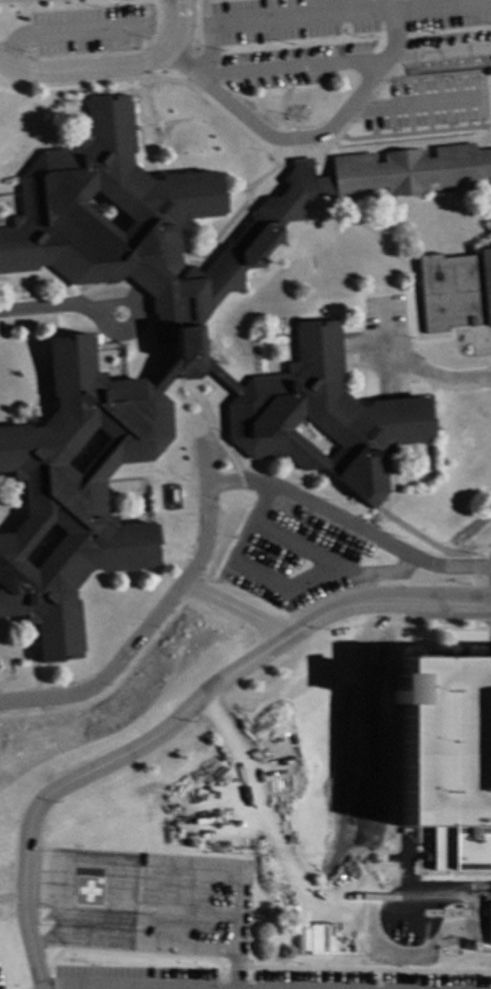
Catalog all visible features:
road: (440, 10)
road: (278, 22)
parking lot: (91, 30)
road: (59, 32)
parking lot: (445, 36)
road: (344, 60)
parking lot: (293, 66)
road: (112, 68)
parking lot: (426, 105)
road: (416, 106)
road: (311, 137)
road: (133, 301)
road: (50, 309)
parking lot: (473, 341)
building: (191, 347)
parking lot: (398, 351)
road: (417, 365)
road: (350, 523)
road: (294, 545)
parking lot: (310, 550)
parking lot: (490, 555)
road: (285, 585)
road: (243, 606)
road: (158, 617)
road: (421, 630)
road: (488, 630)
road: (490, 632)
road: (255, 660)
building: (445, 756)
parking lot: (445, 756)
road: (434, 874)
road: (140, 889)
road: (20, 890)
building: (87, 893)
helipad: (88, 893)
parking lot: (189, 907)
building: (489, 924)
road: (82, 942)
road: (168, 947)
road: (258, 968)
road: (235, 970)
parking lot: (250, 979)
road: (52, 983)
road: (82, 987)

